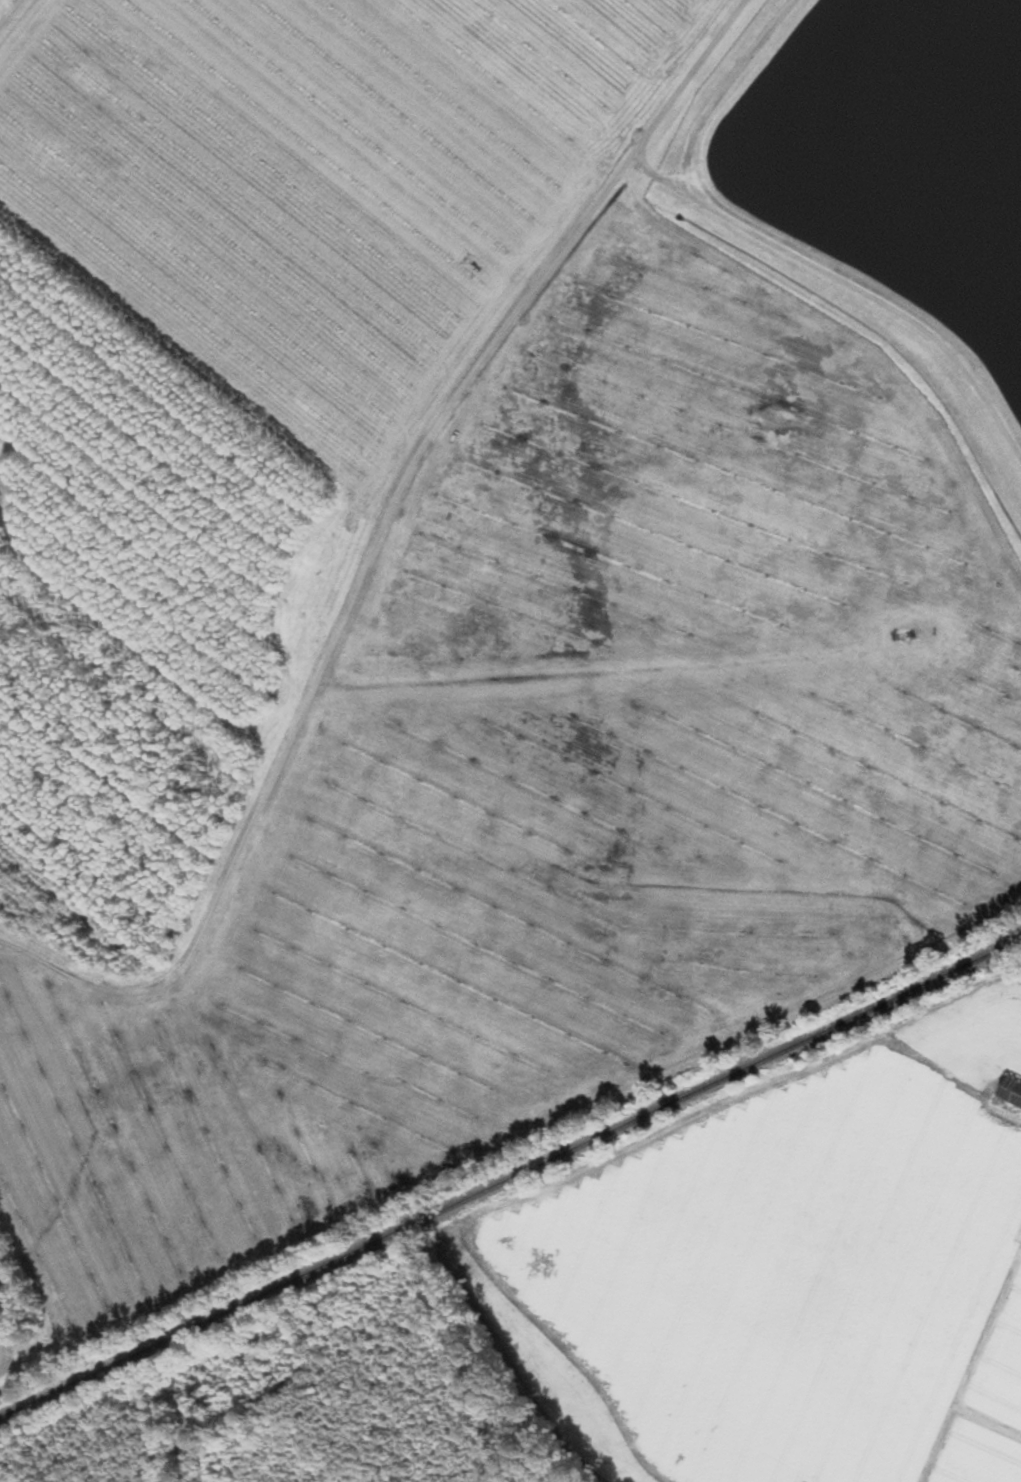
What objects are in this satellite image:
railway: (510, 1179)
building: (187, 1451)

